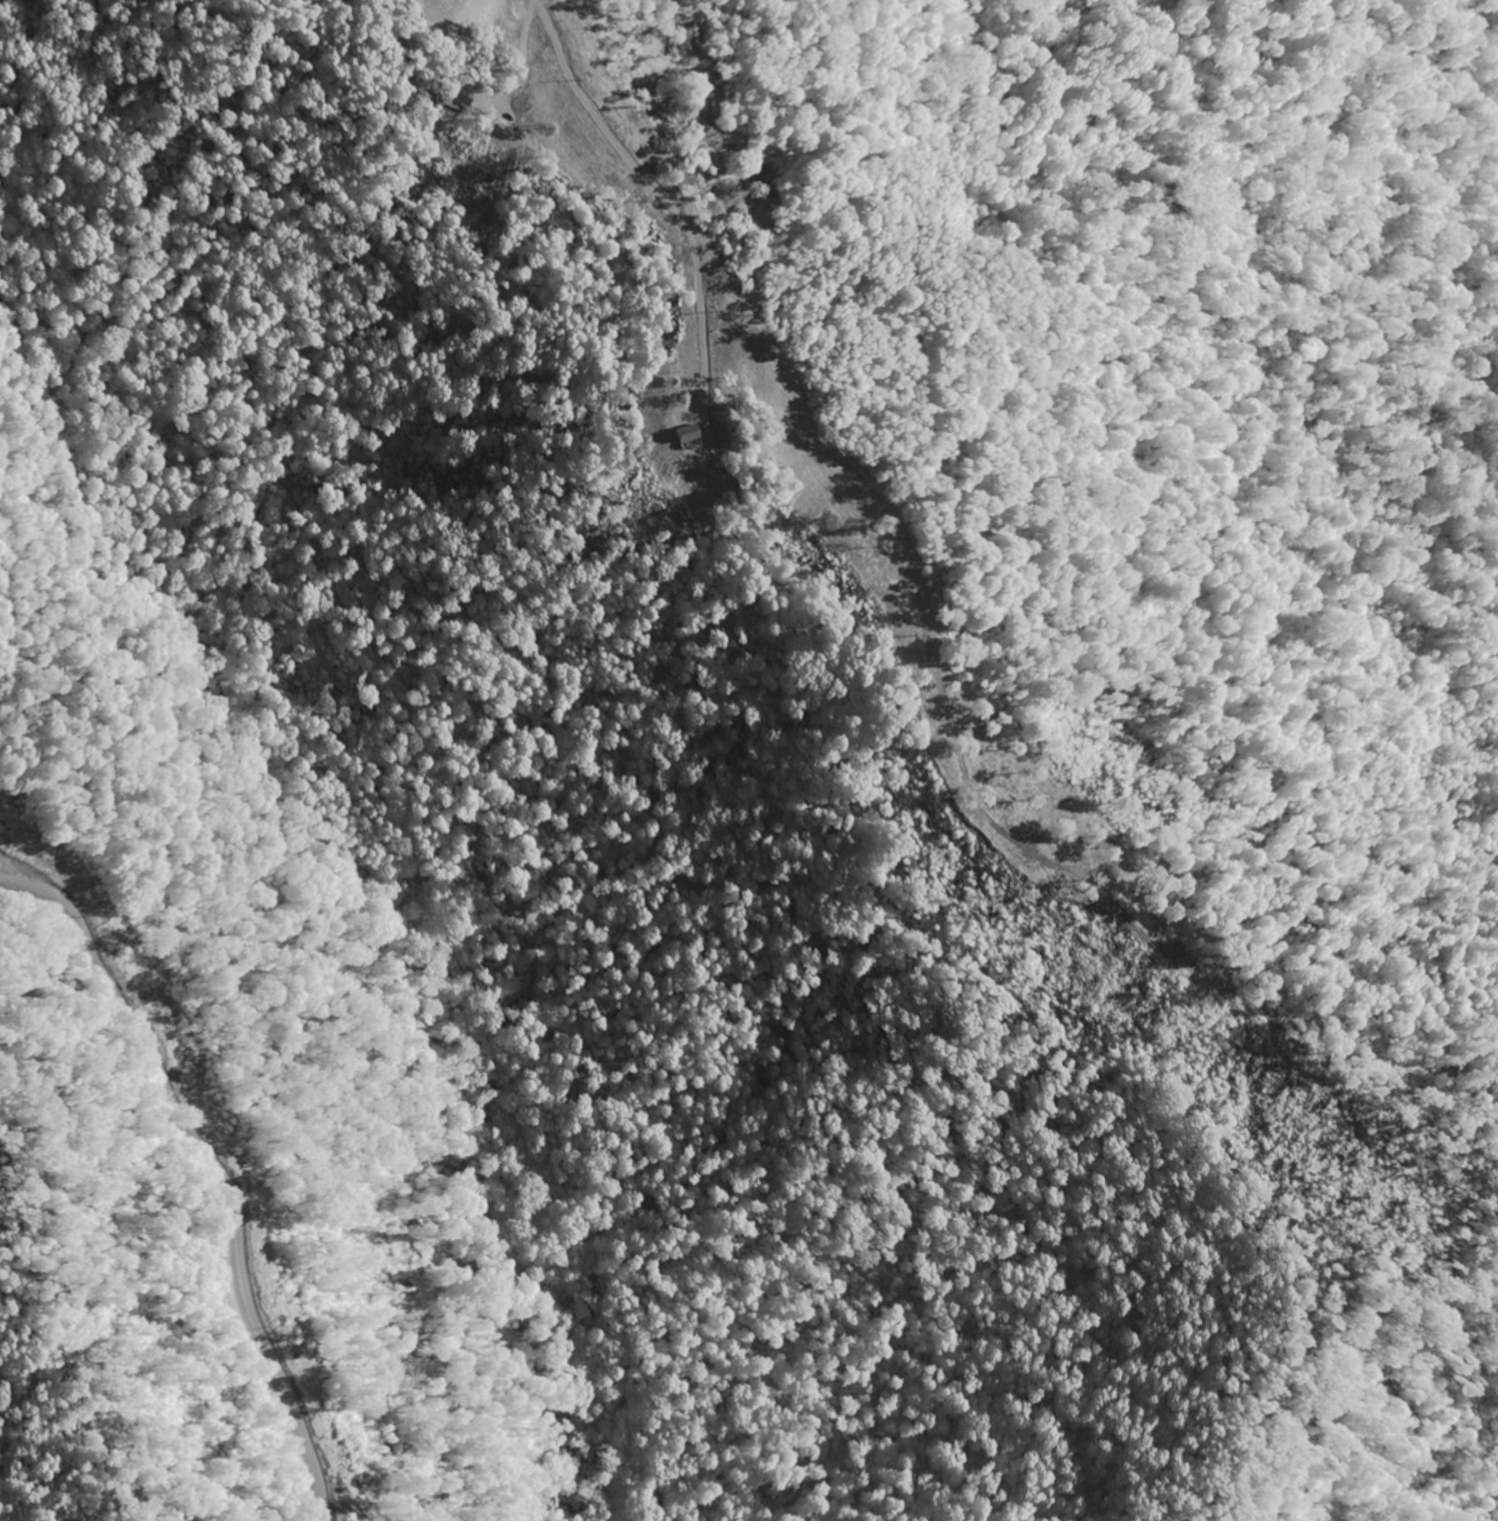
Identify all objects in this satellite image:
building: (684, 436)
road: (212, 1168)

